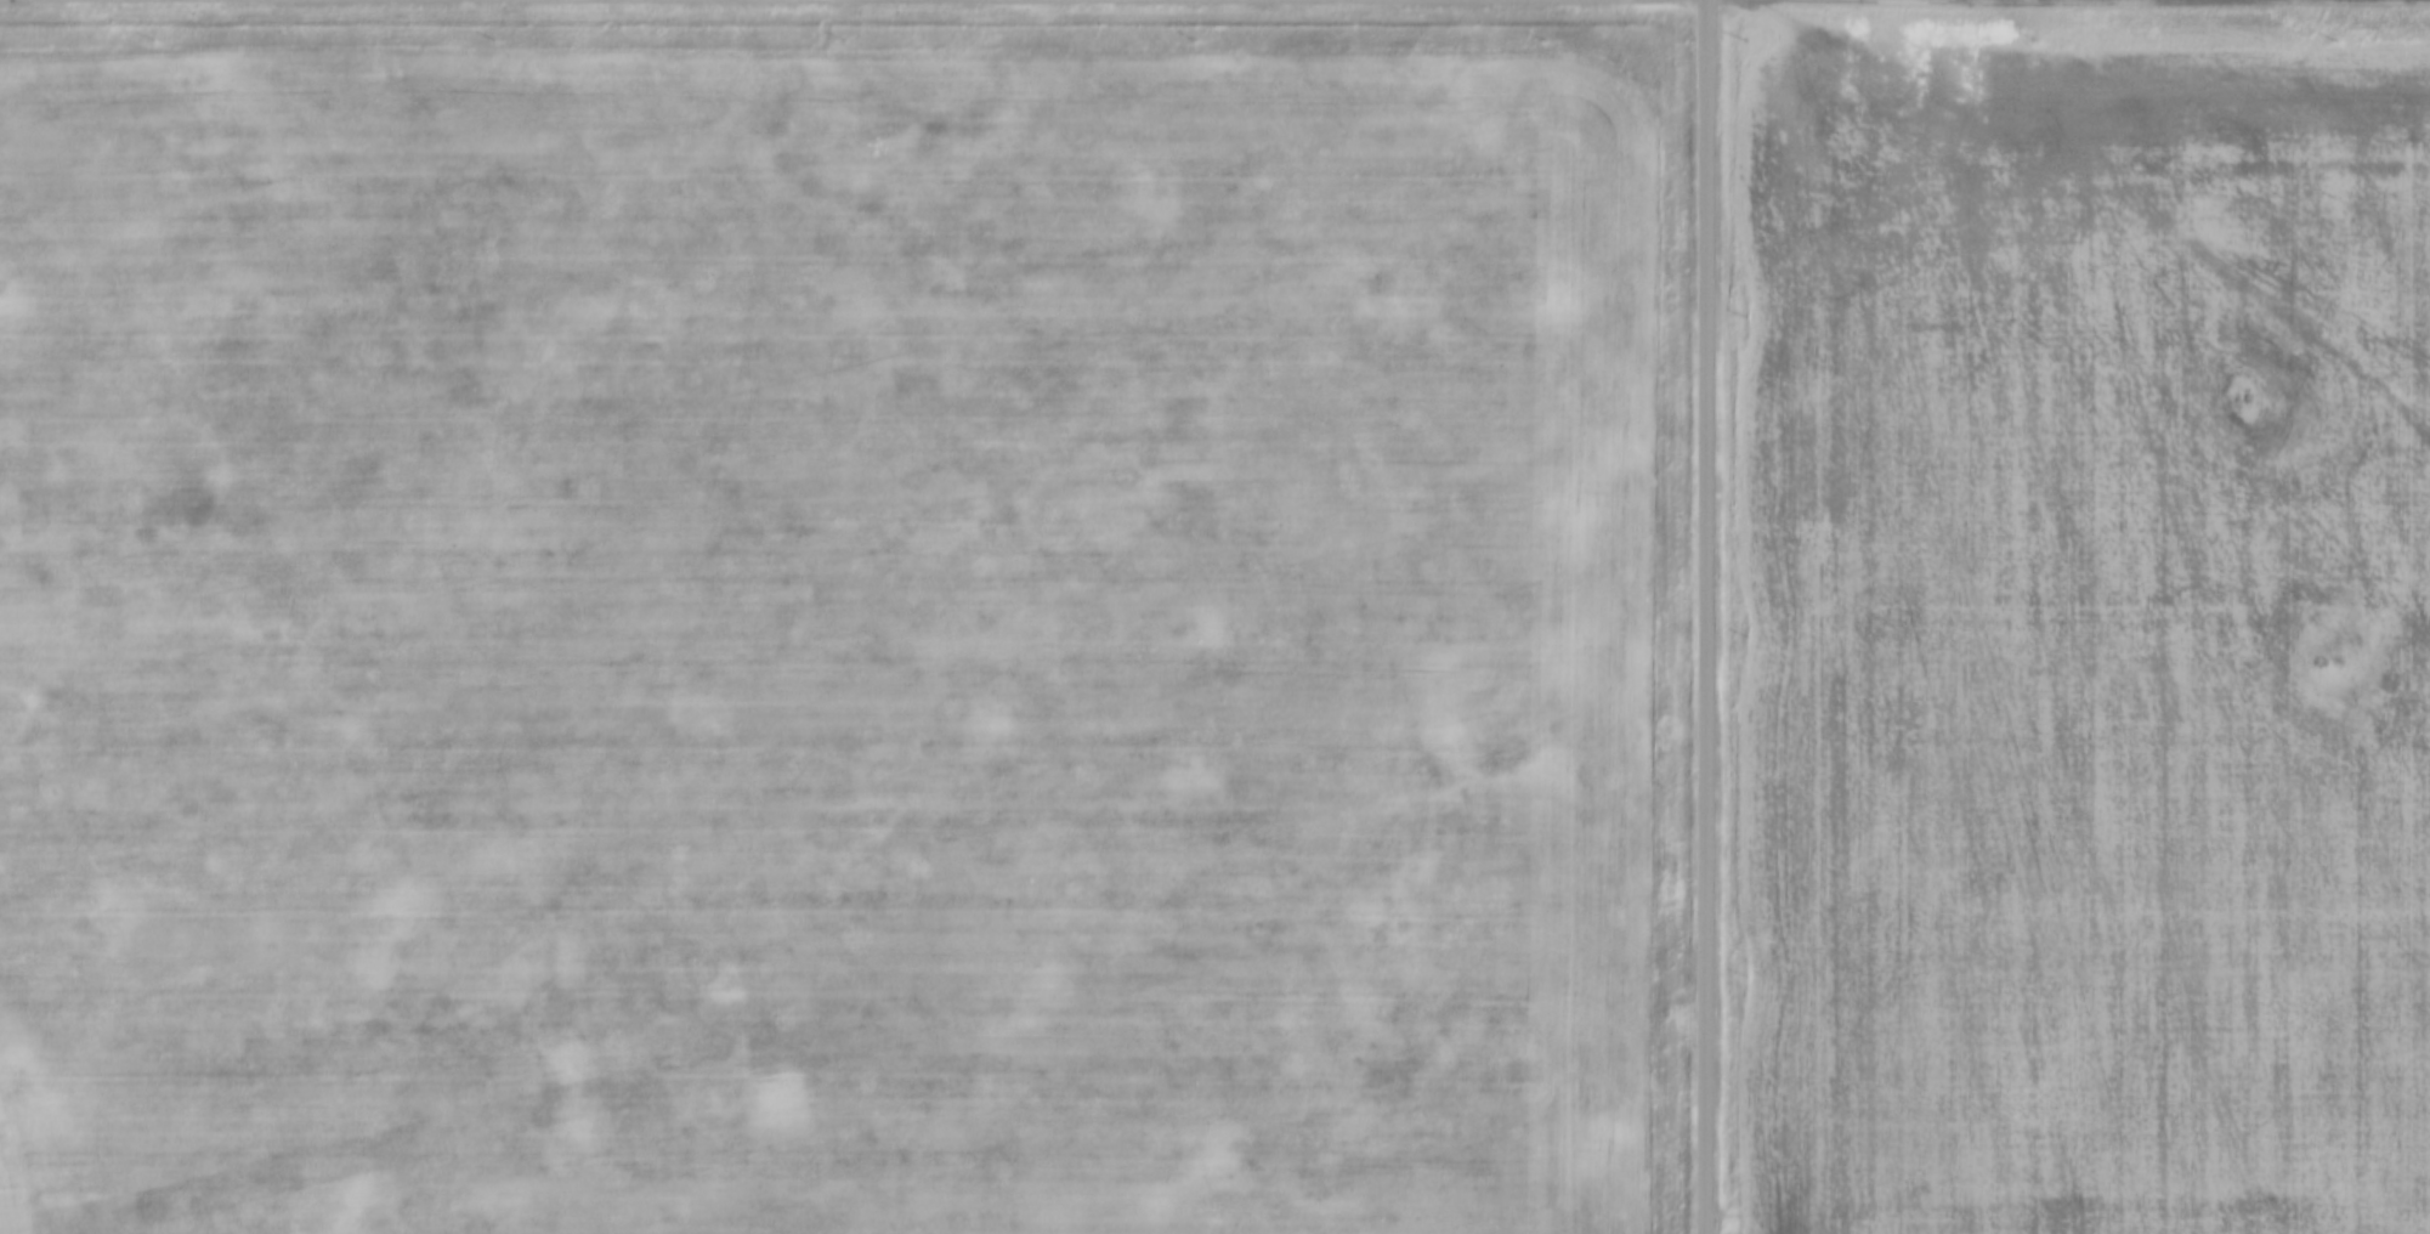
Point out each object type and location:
road: (2312, 0)
road: (1705, 616)

